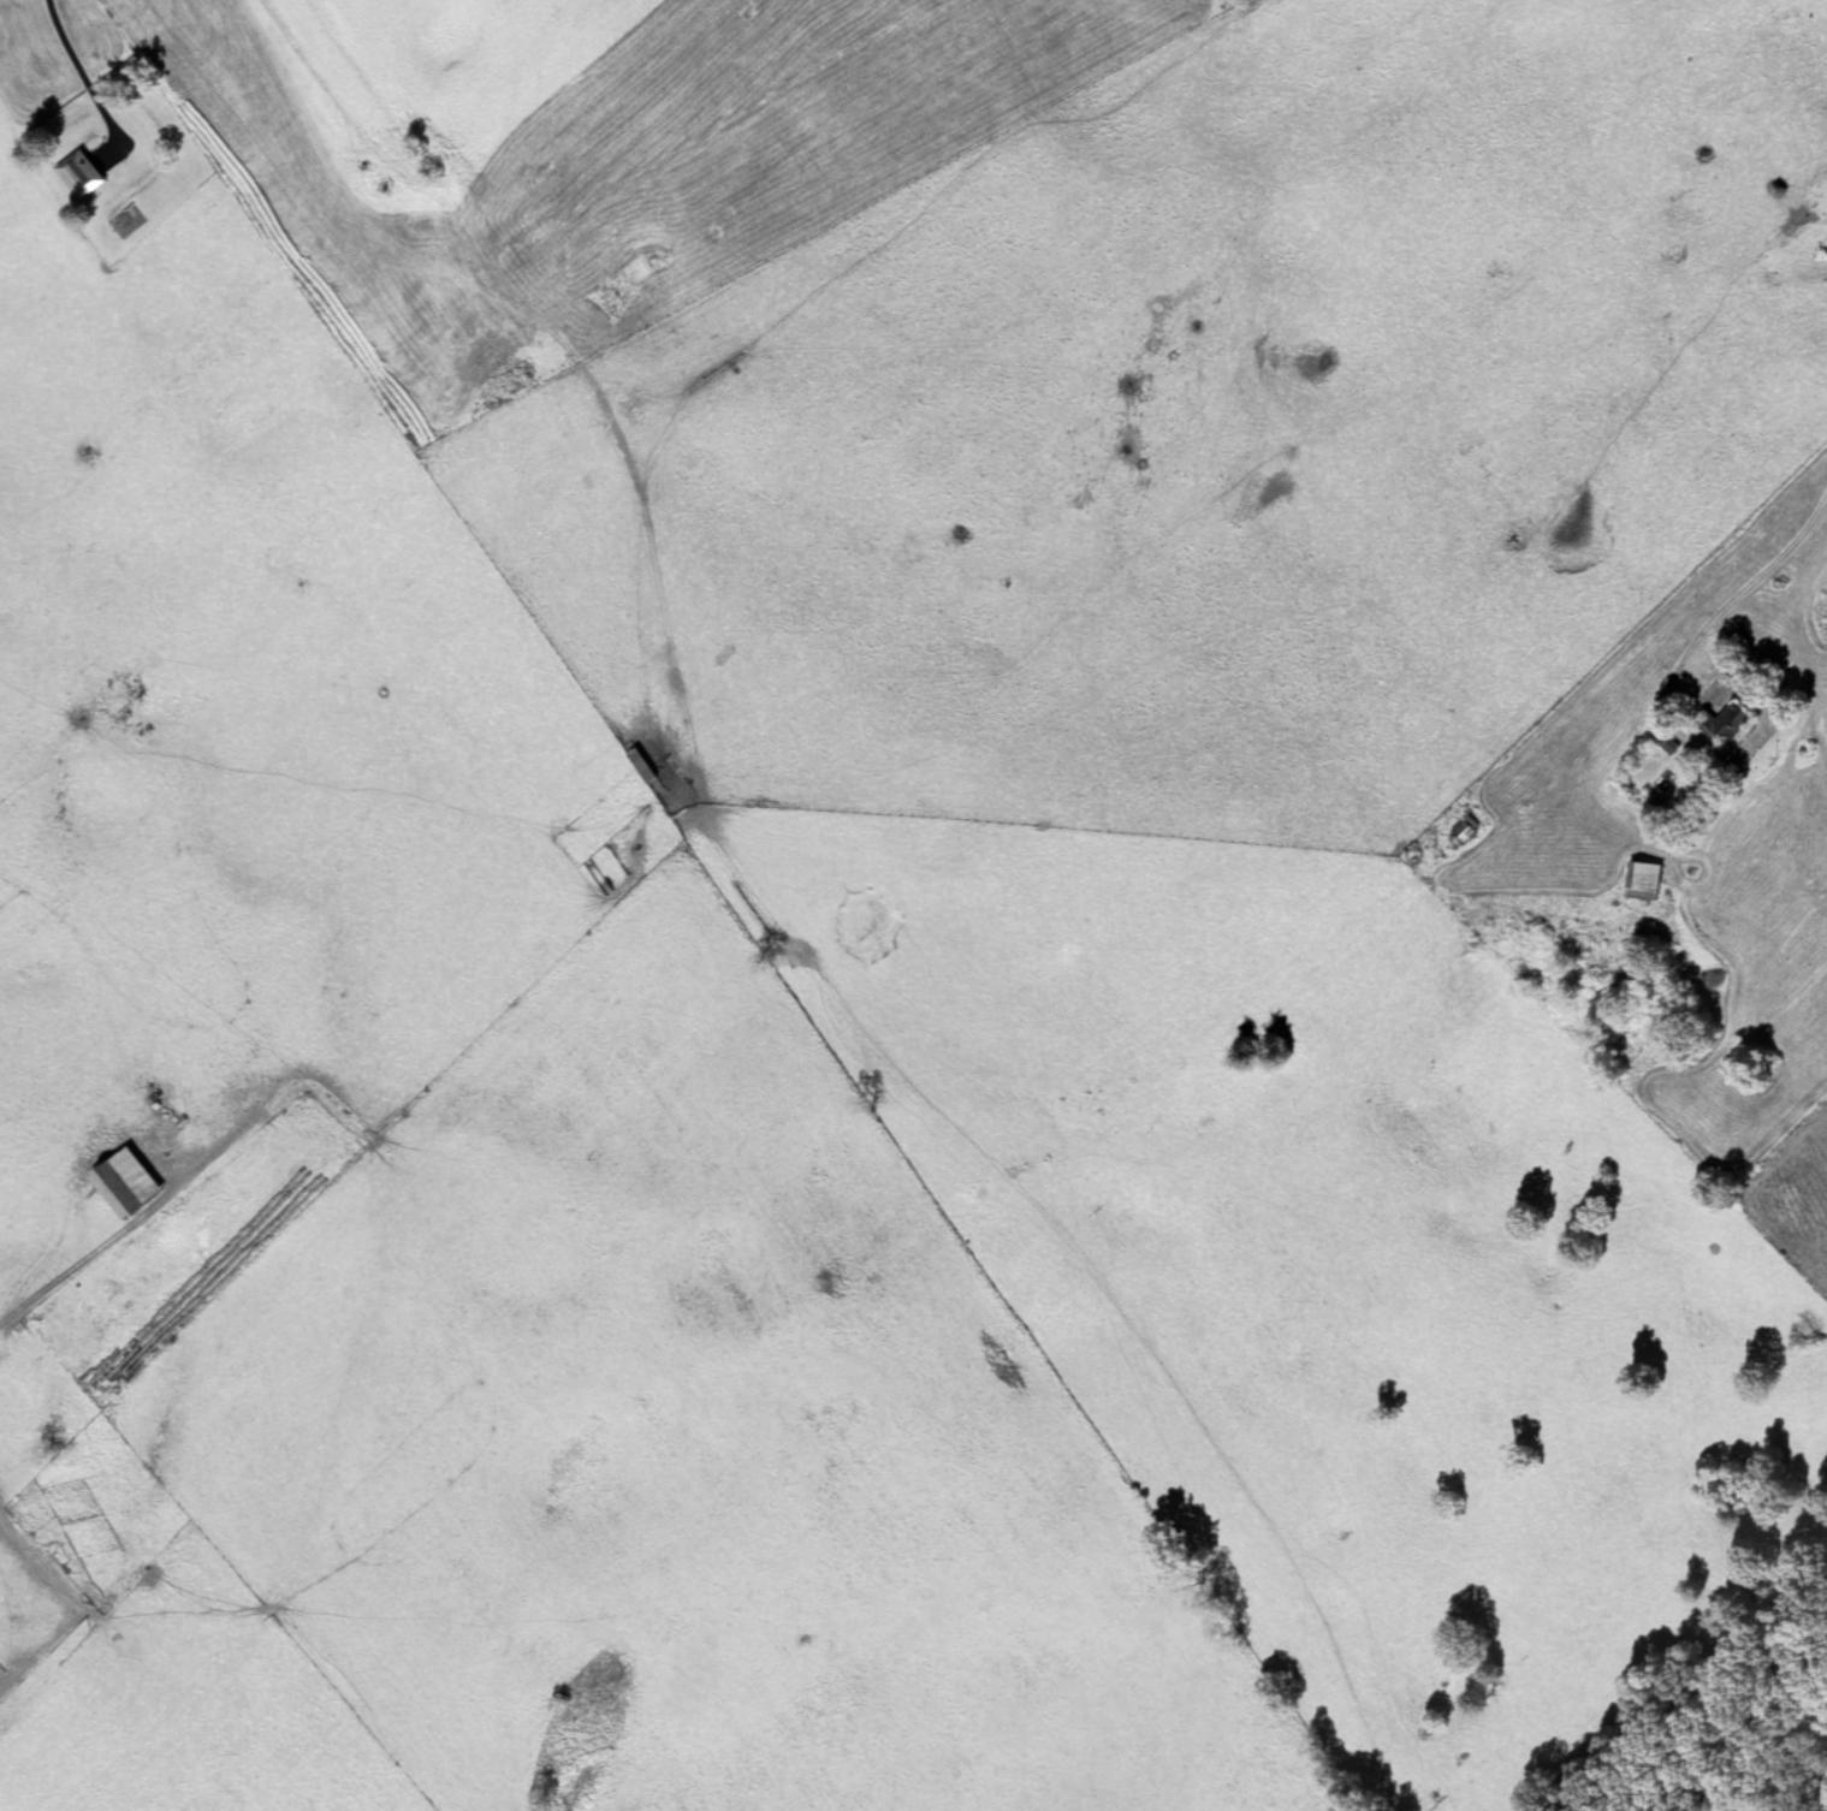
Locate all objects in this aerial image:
road: (83, 71)
building: (78, 177)
building: (1724, 725)
building: (1463, 831)
building: (1639, 880)
building: (120, 1183)
road: (125, 1224)

